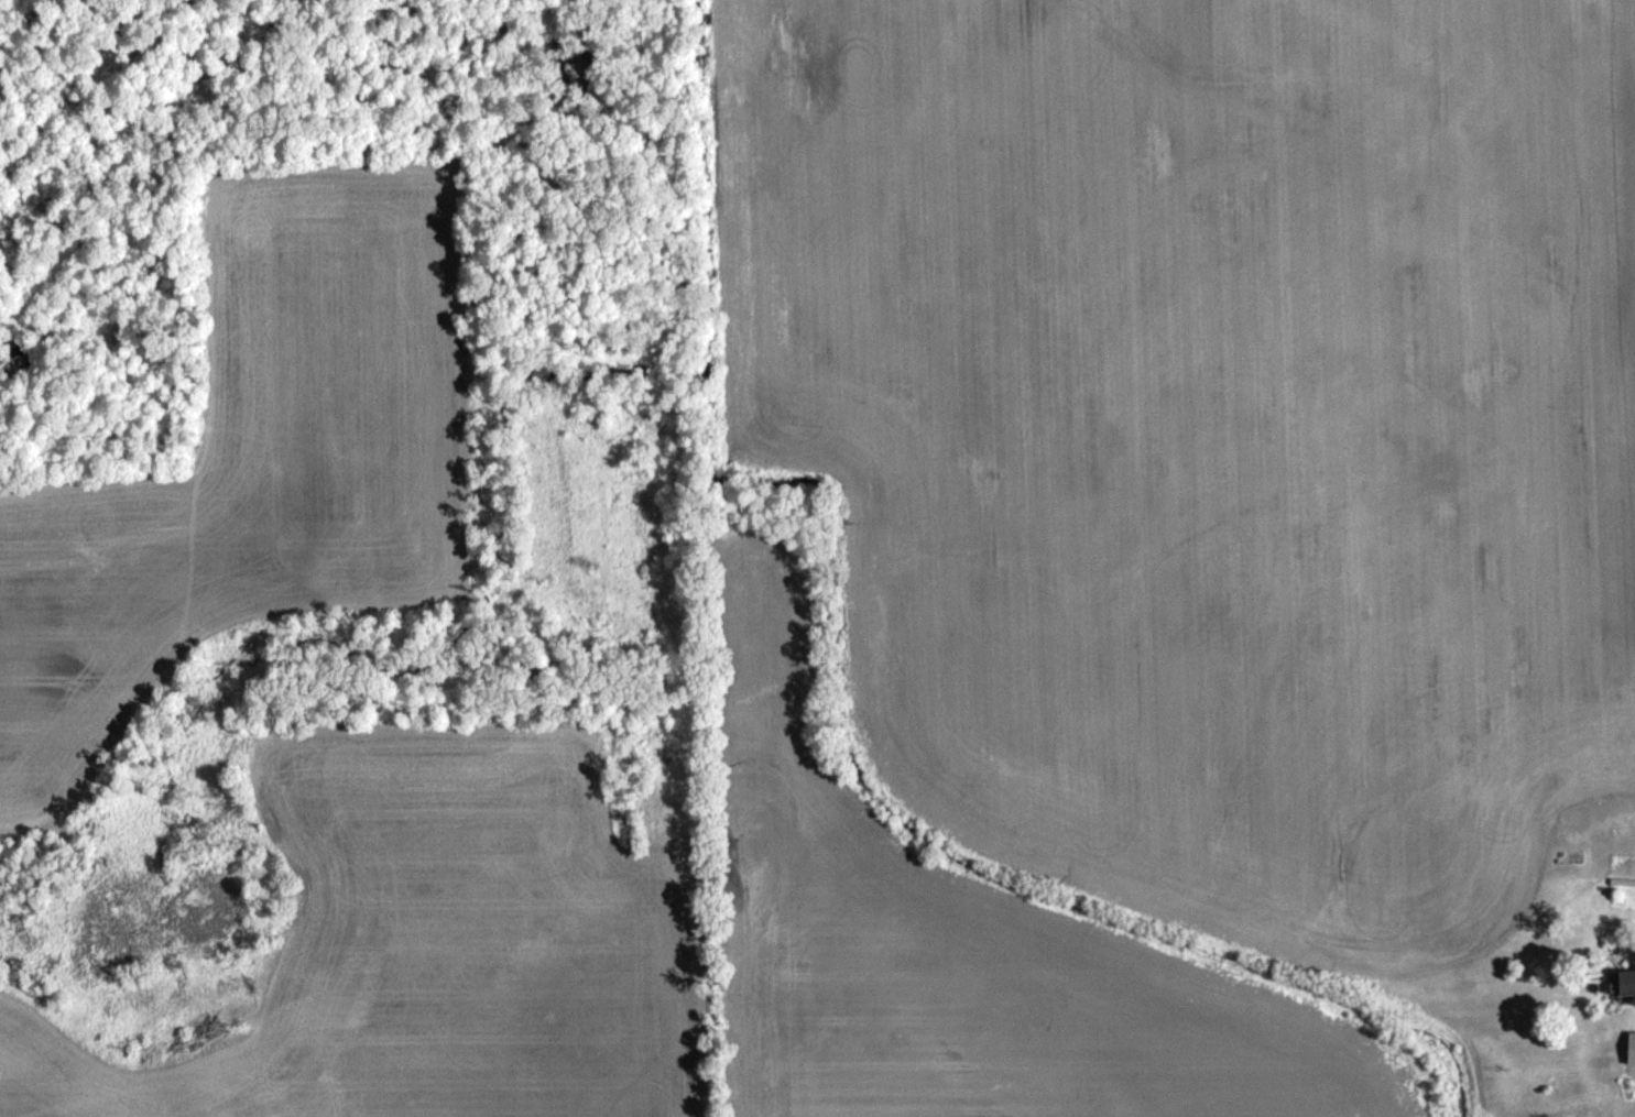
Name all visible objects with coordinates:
building: (1623, 984)

